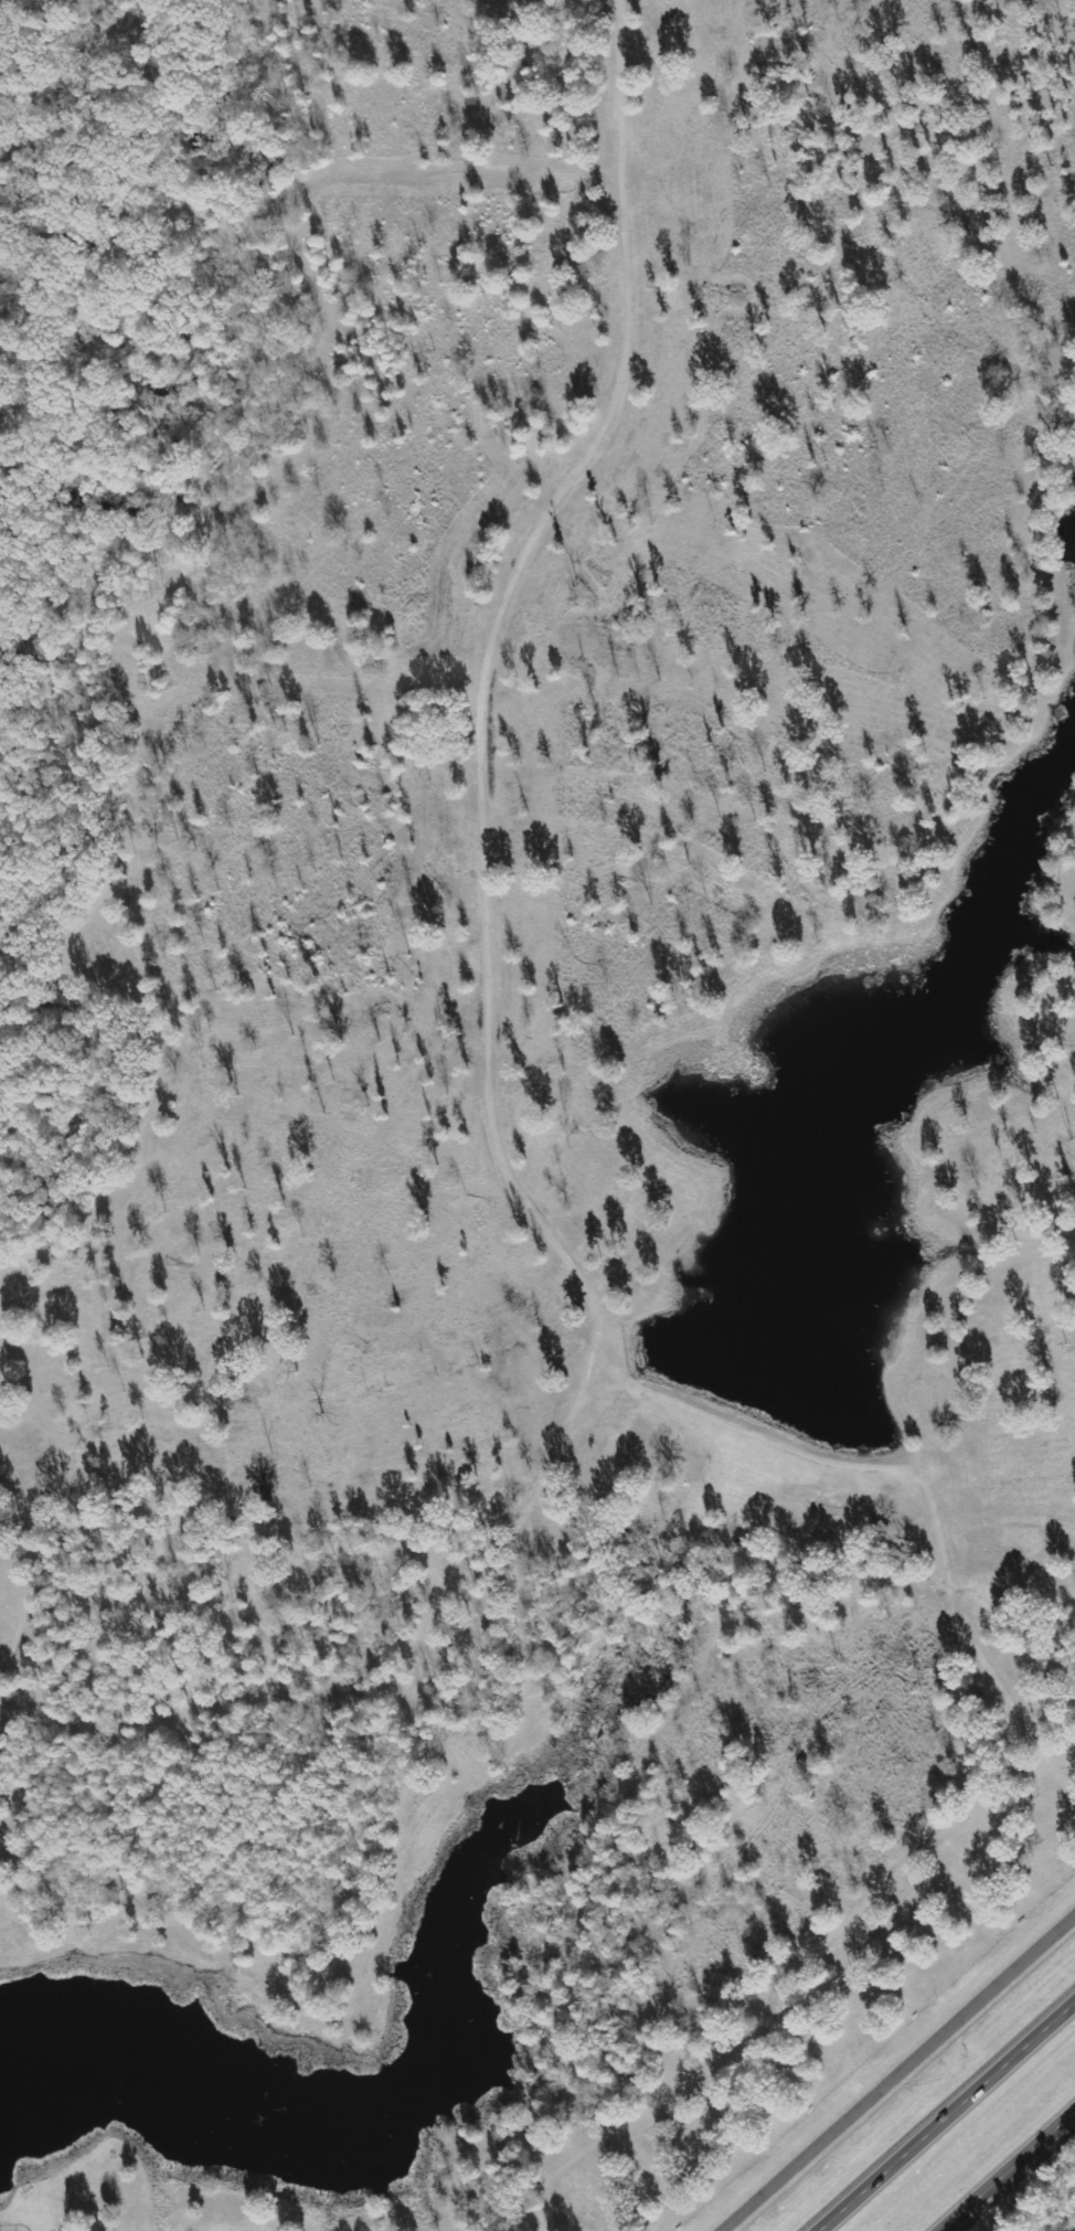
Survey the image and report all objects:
road: (900, 2074)
road: (951, 2121)
road: (1012, 2174)

